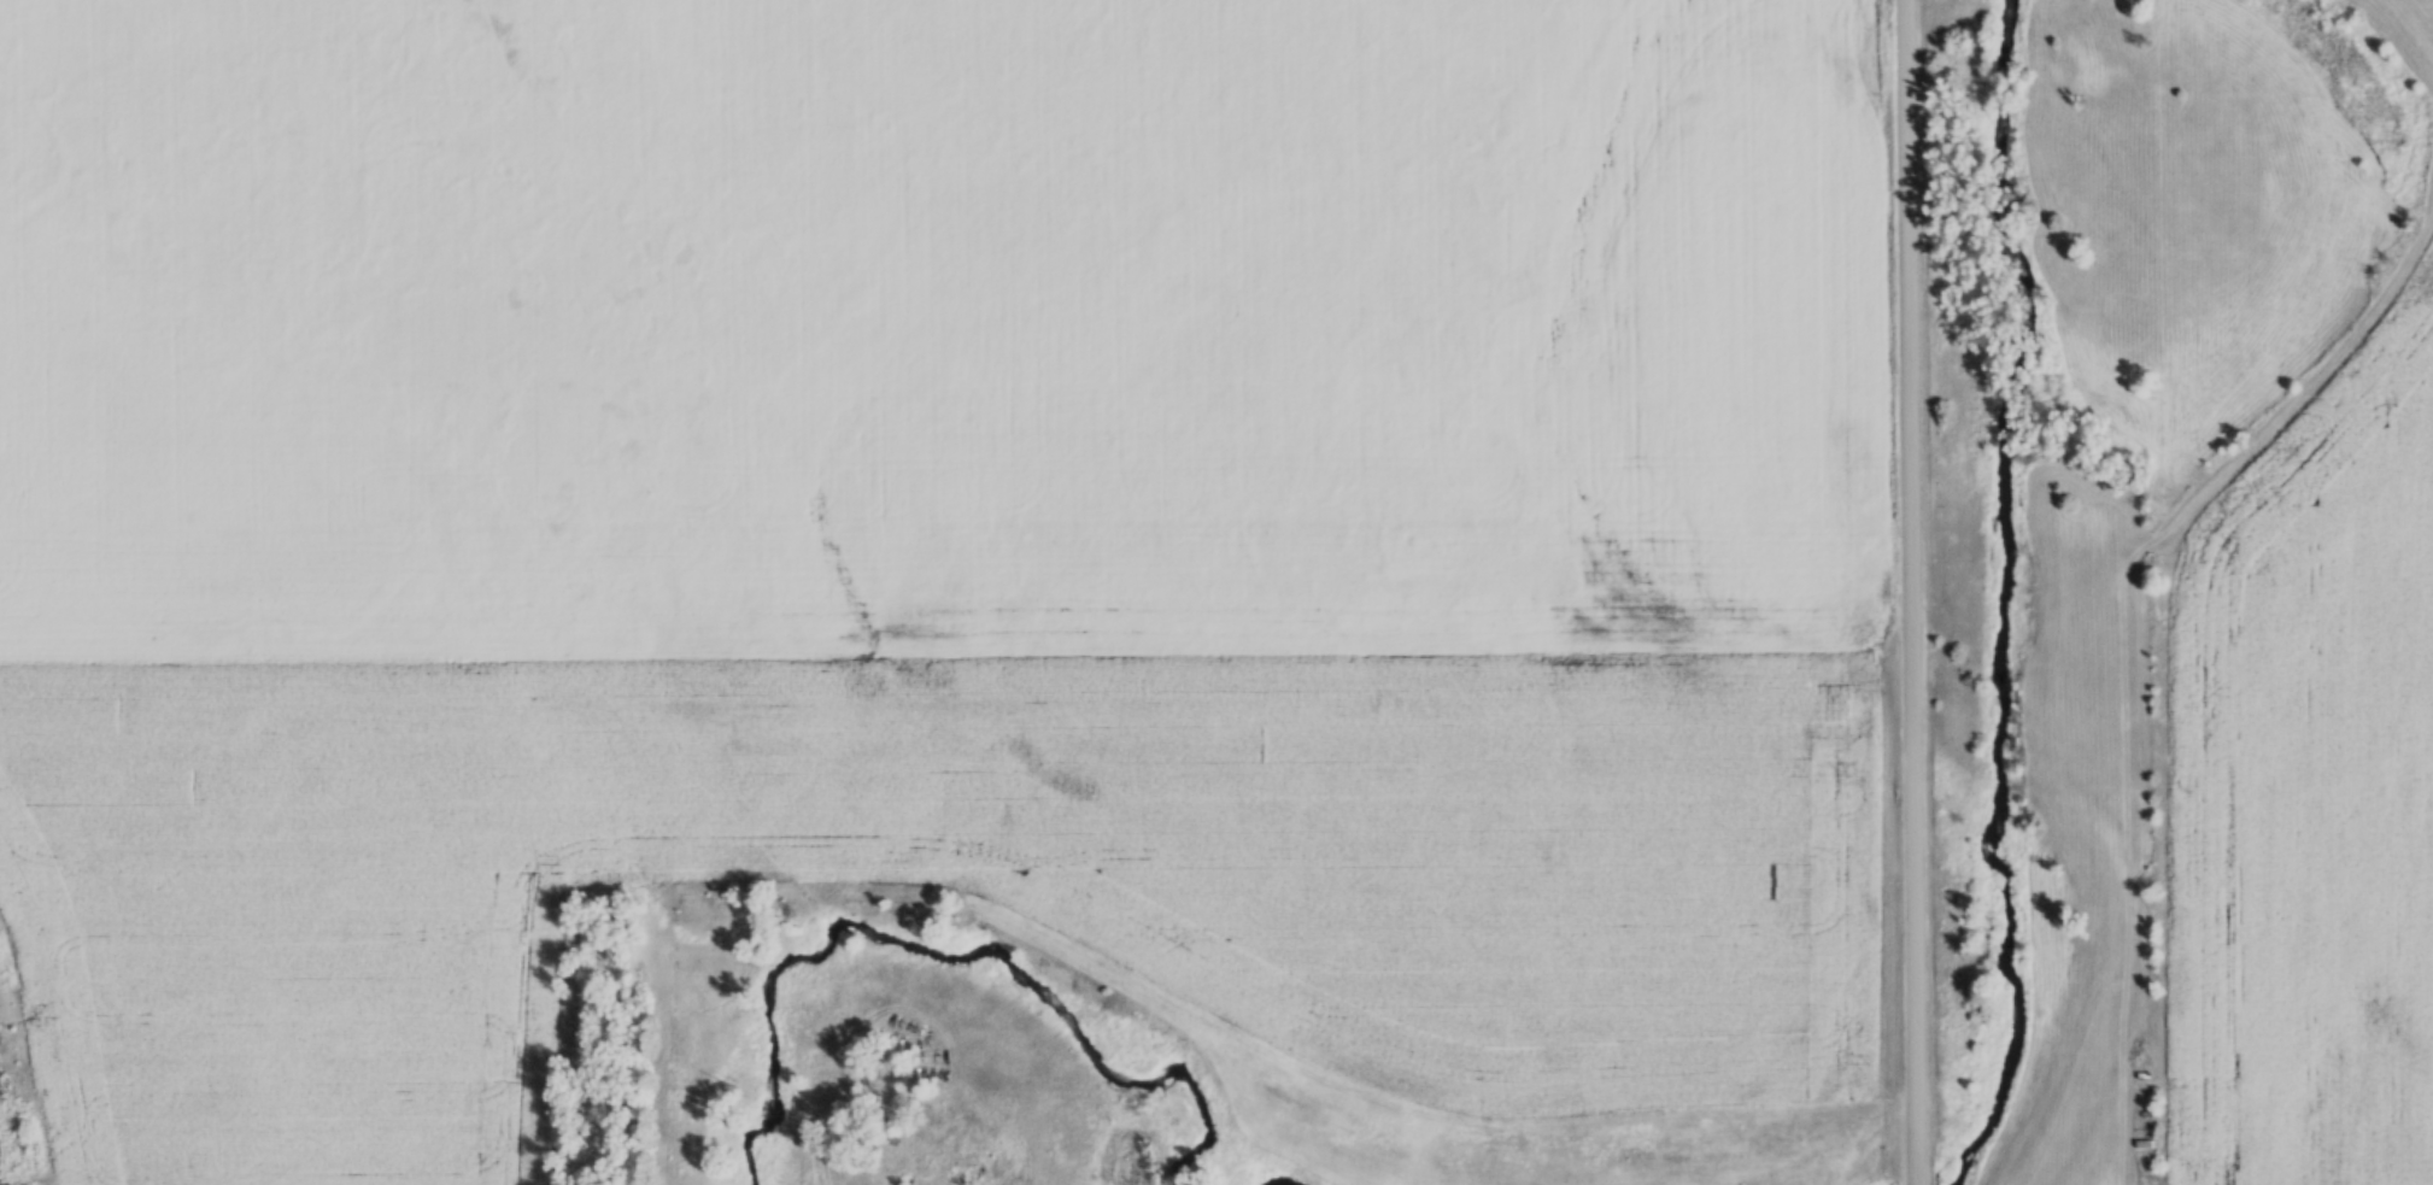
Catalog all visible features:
road: (1909, 592)
river: (2010, 603)
river: (931, 976)

